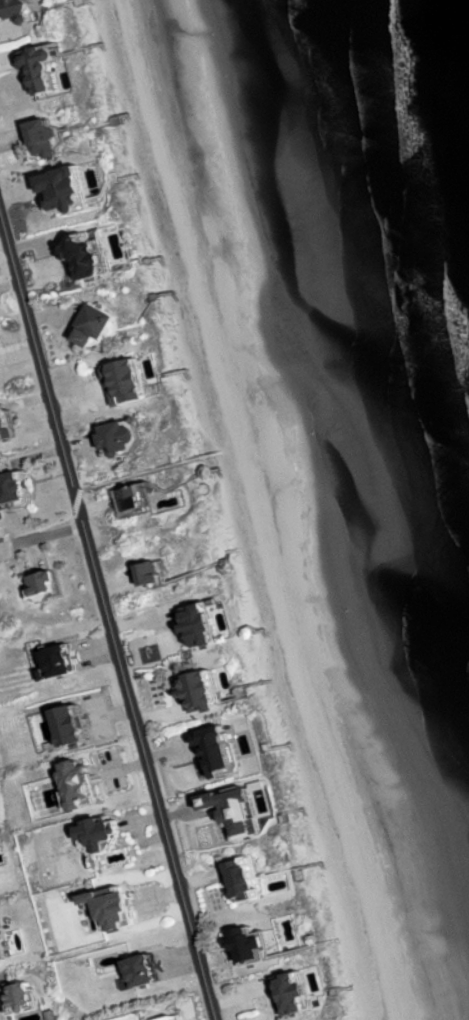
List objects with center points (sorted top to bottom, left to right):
building: (29, 6)
building: (49, 71)
building: (51, 138)
building: (78, 192)
building: (95, 255)
building: (98, 326)
building: (133, 382)
building: (8, 423)
building: (126, 438)
road: (150, 471)
building: (21, 488)
building: (142, 501)
road: (78, 502)
road: (37, 527)
building: (157, 574)
building: (50, 585)
road: (107, 615)
building: (207, 625)
building: (67, 662)
building: (211, 691)
building: (109, 833)
building: (248, 880)
building: (135, 893)
building: (5, 943)
building: (258, 947)
building: (152, 972)
building: (306, 992)
building: (180, 1018)

